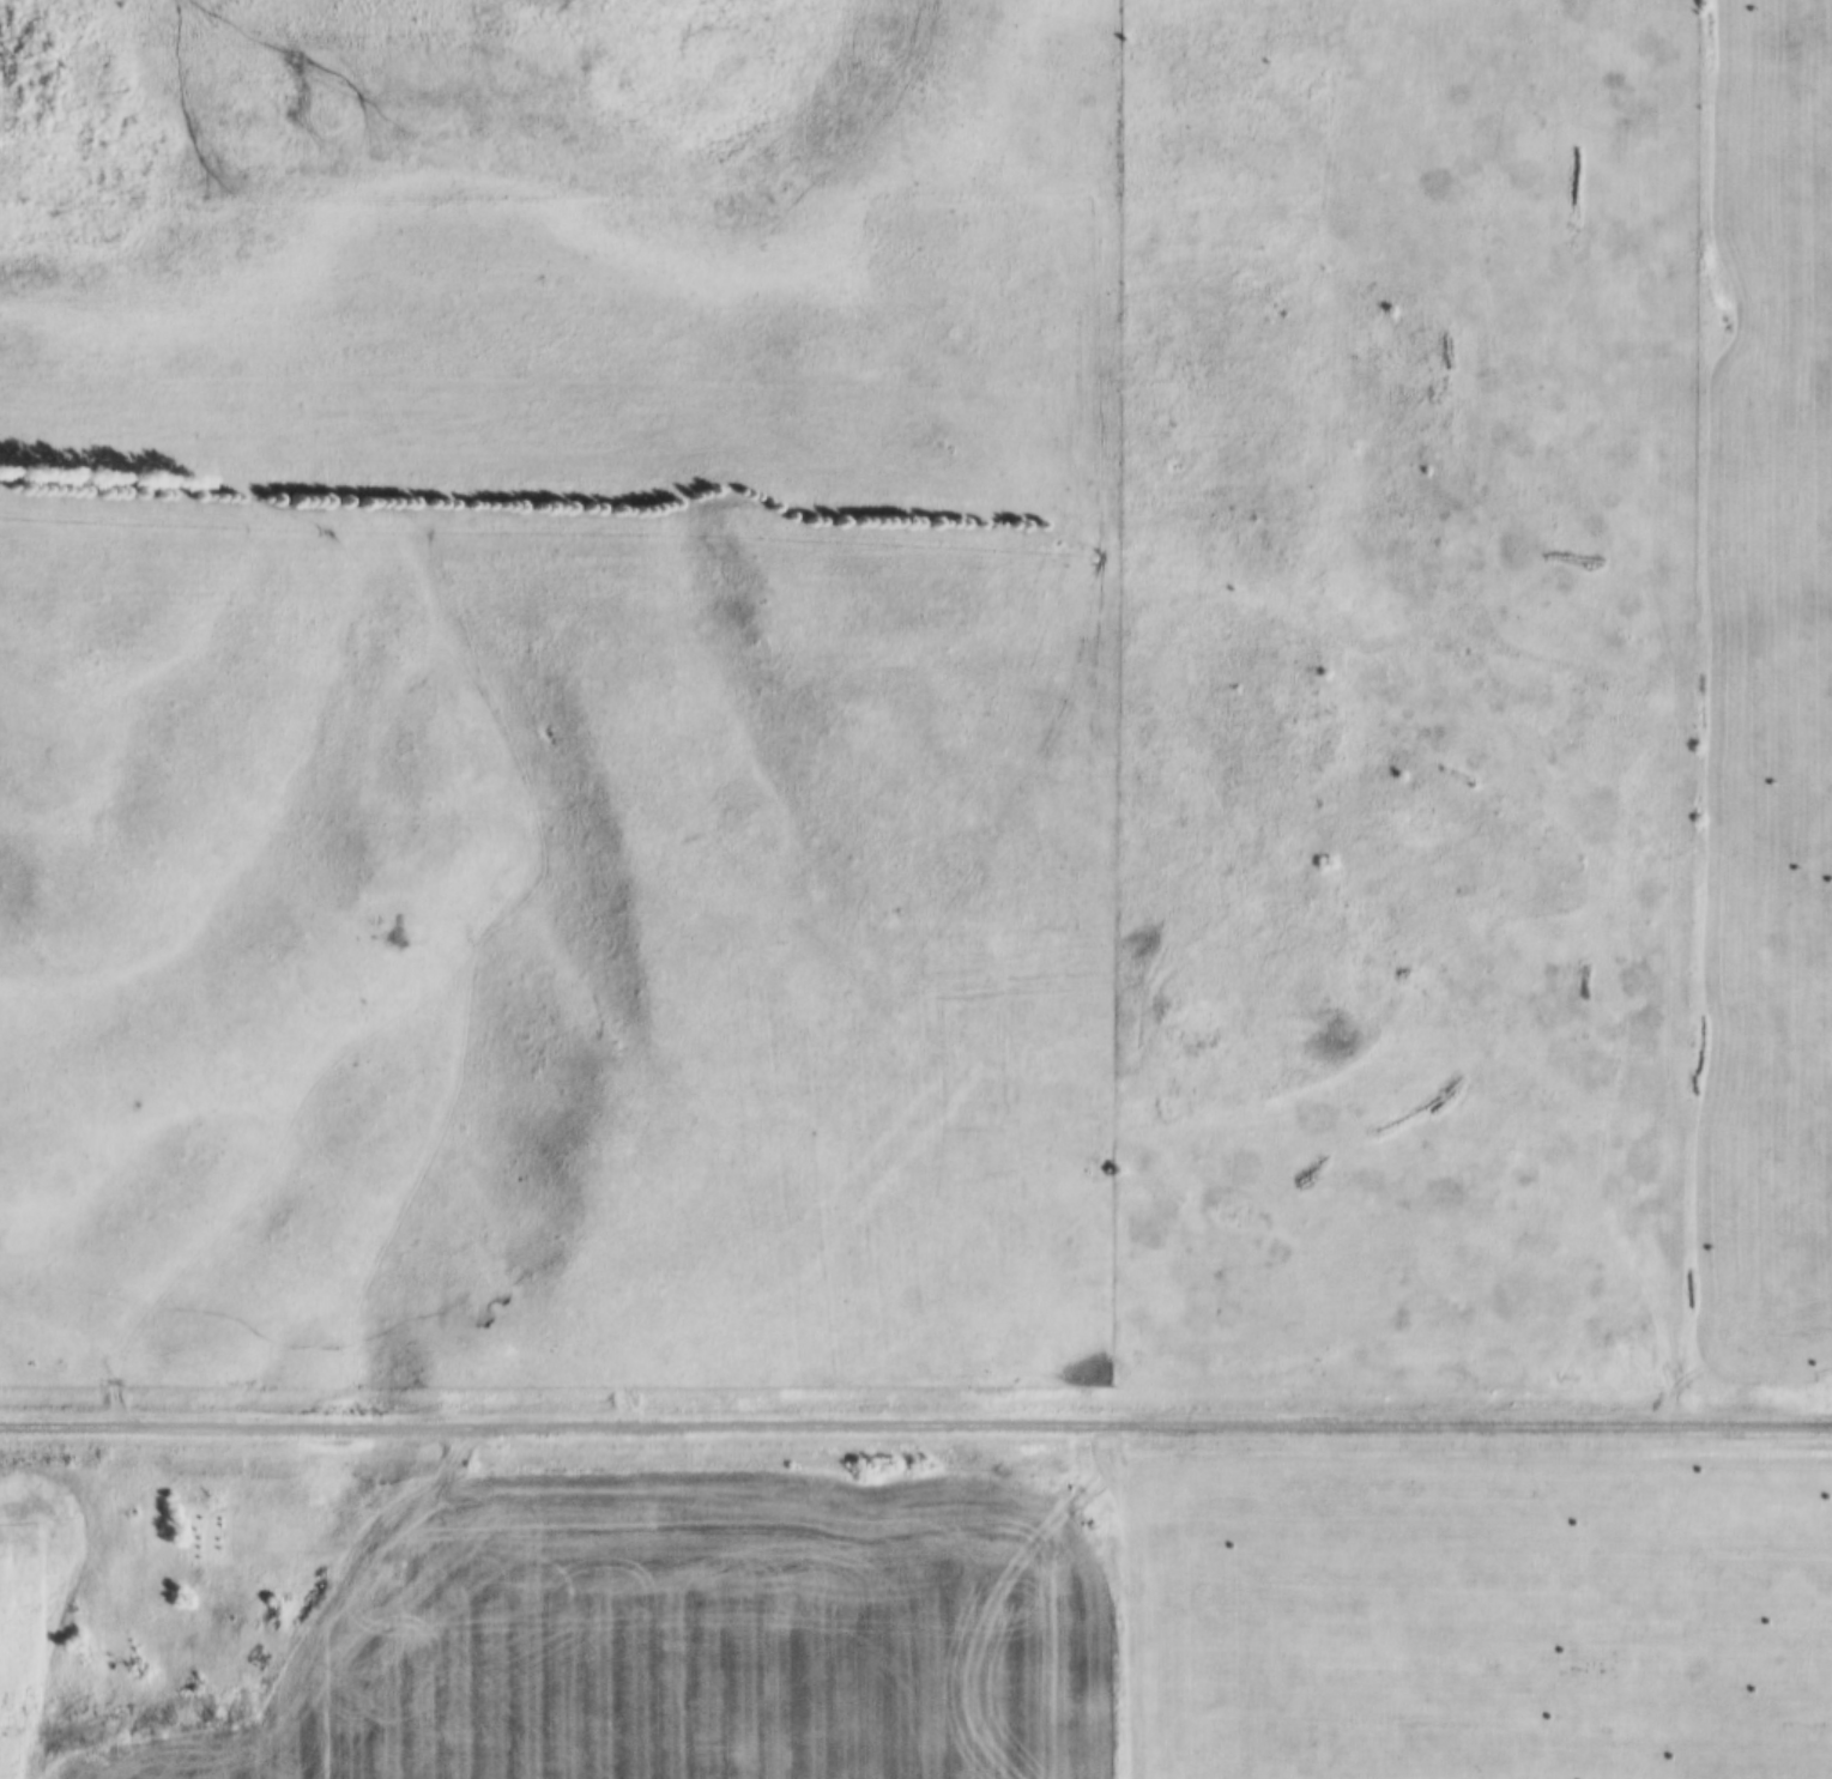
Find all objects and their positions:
road: (915, 1418)
road: (352, 1595)

